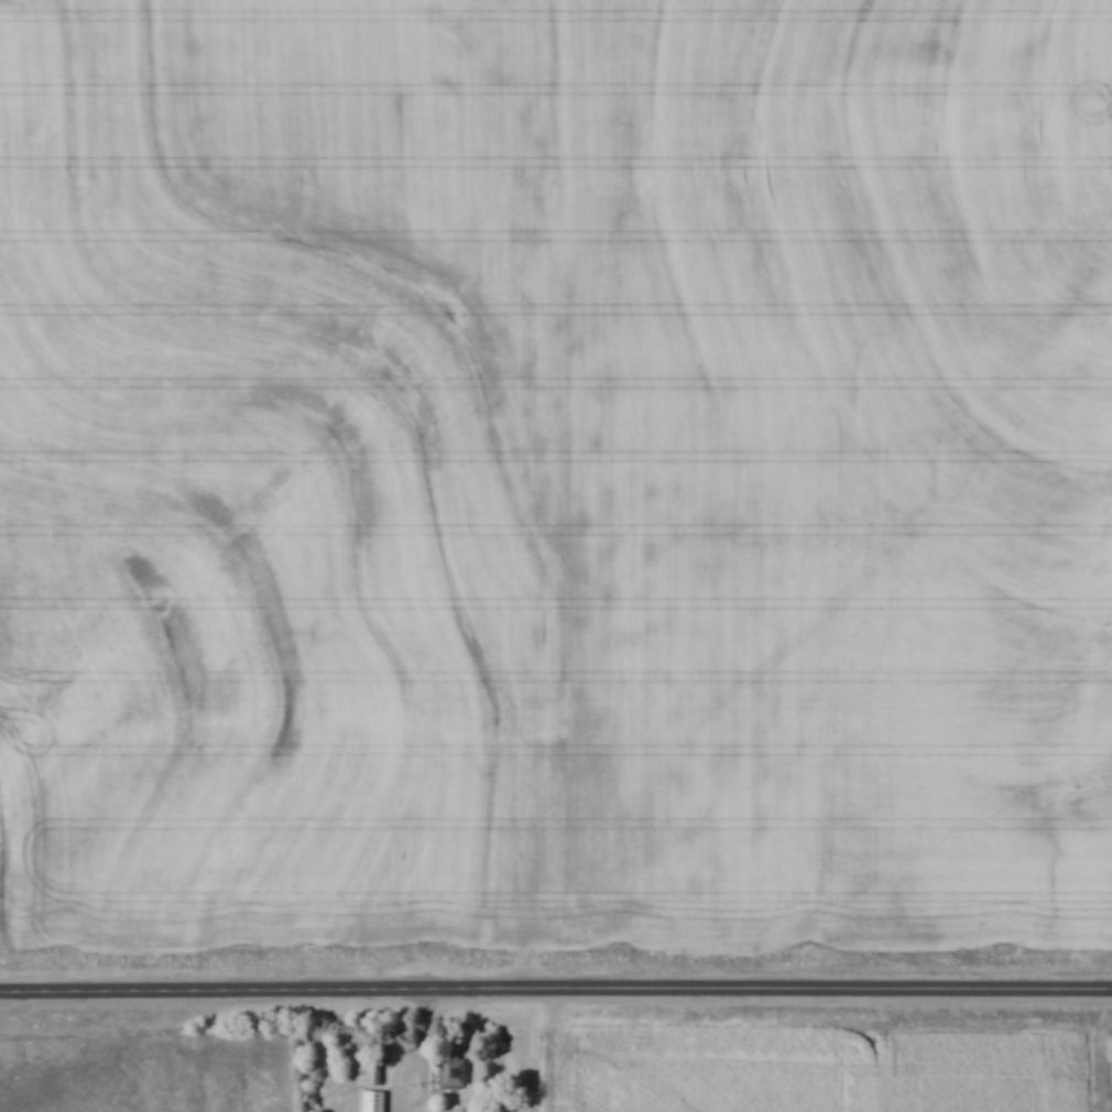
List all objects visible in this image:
road: (556, 986)
building: (373, 1070)
building: (456, 1071)

